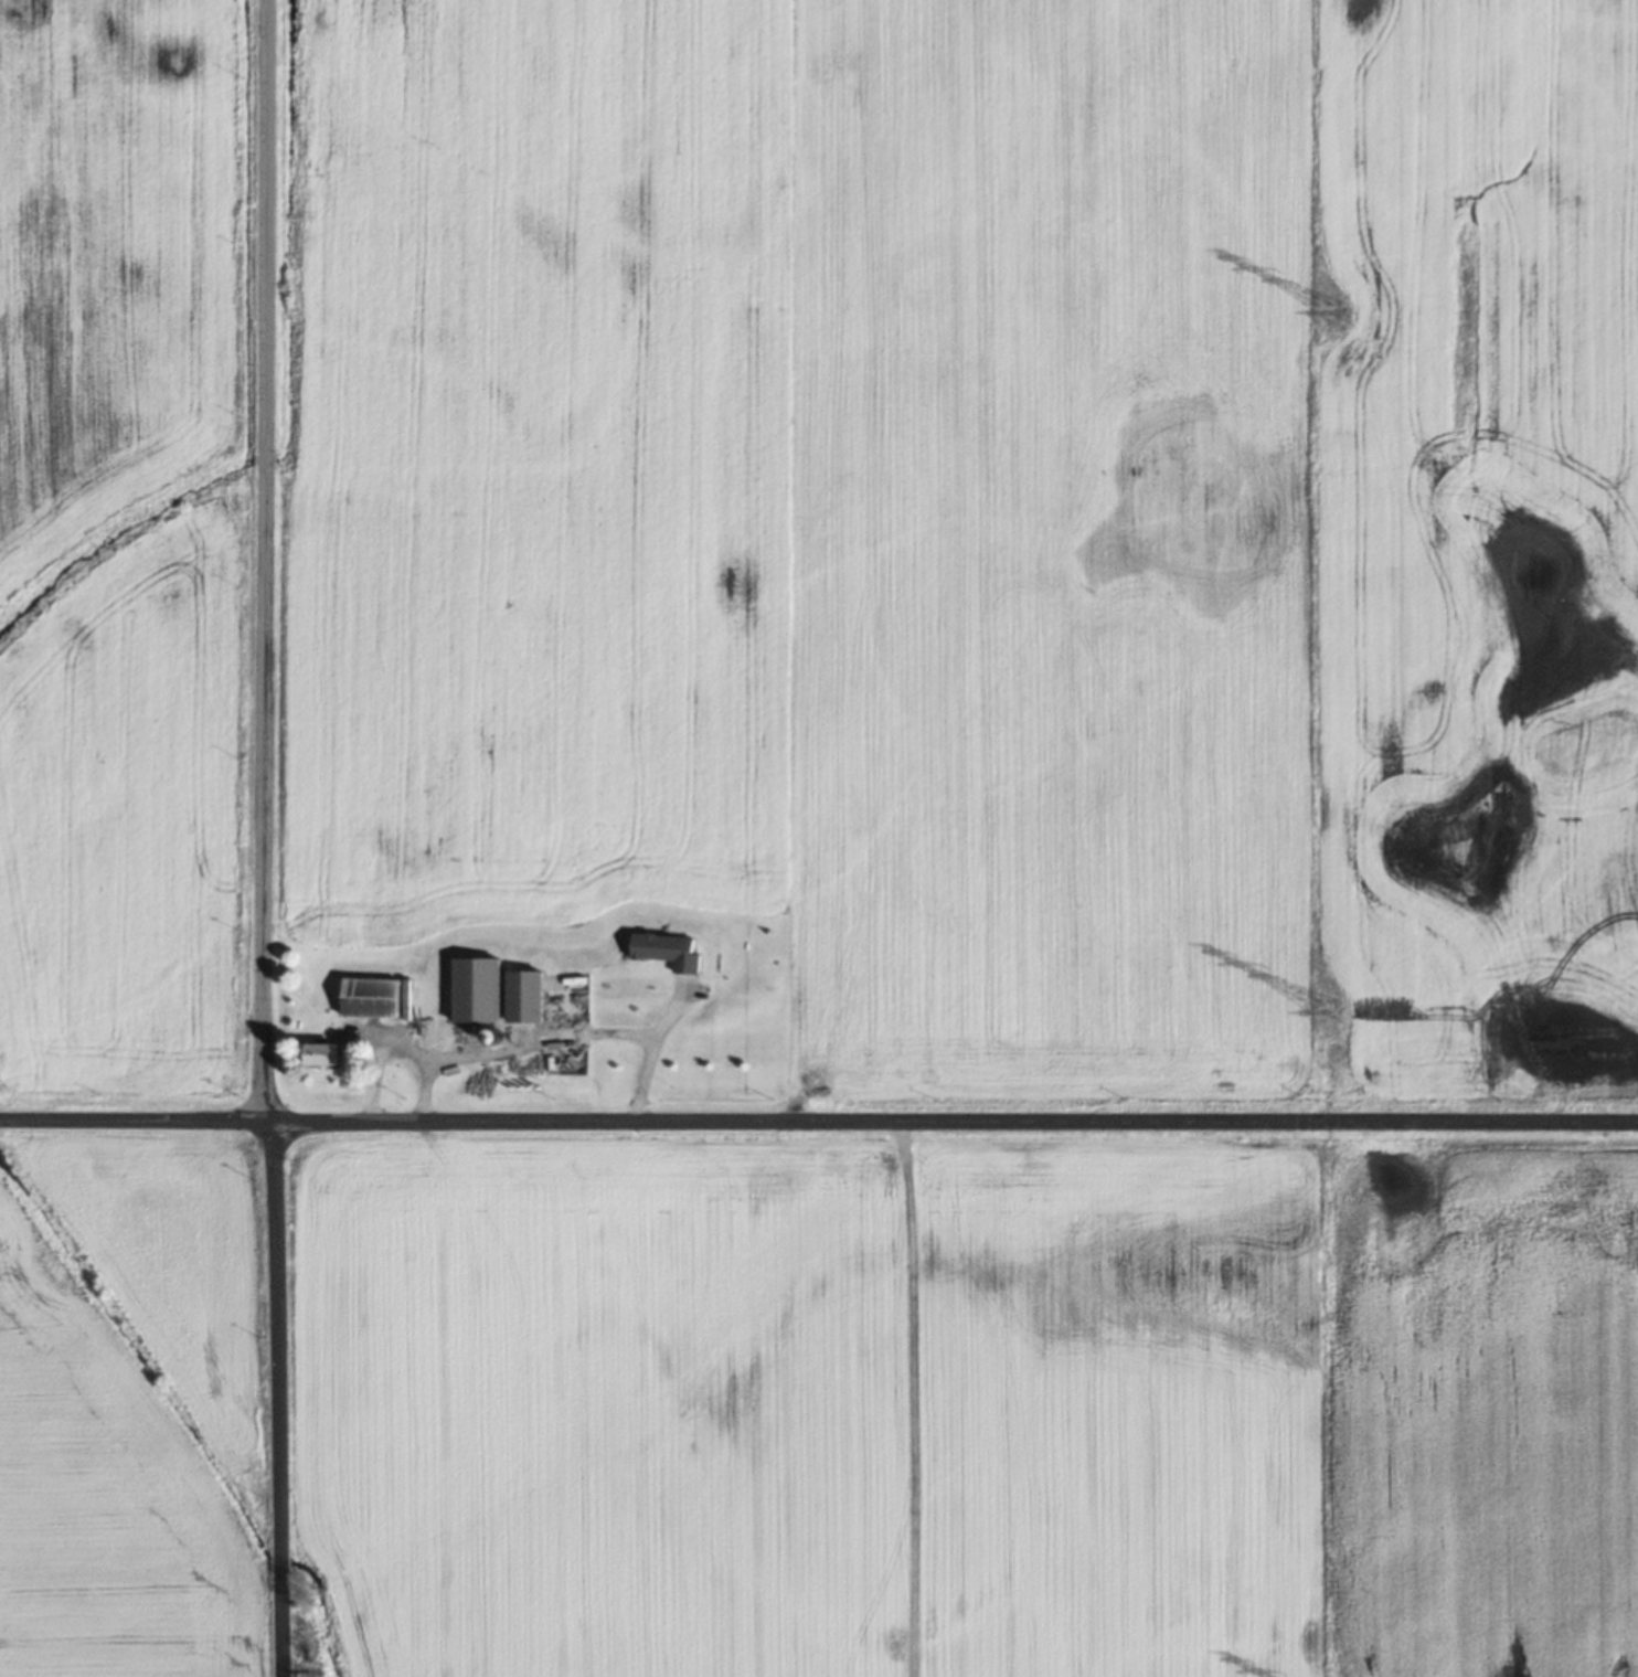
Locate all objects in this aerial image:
power tower: (1334, 311)
road: (264, 838)
building: (369, 996)
building: (560, 998)
building: (478, 1000)
power tower: (1330, 1011)
road: (541, 1040)
road: (401, 1042)
road: (651, 1051)
building: (319, 1053)
road: (818, 1124)

